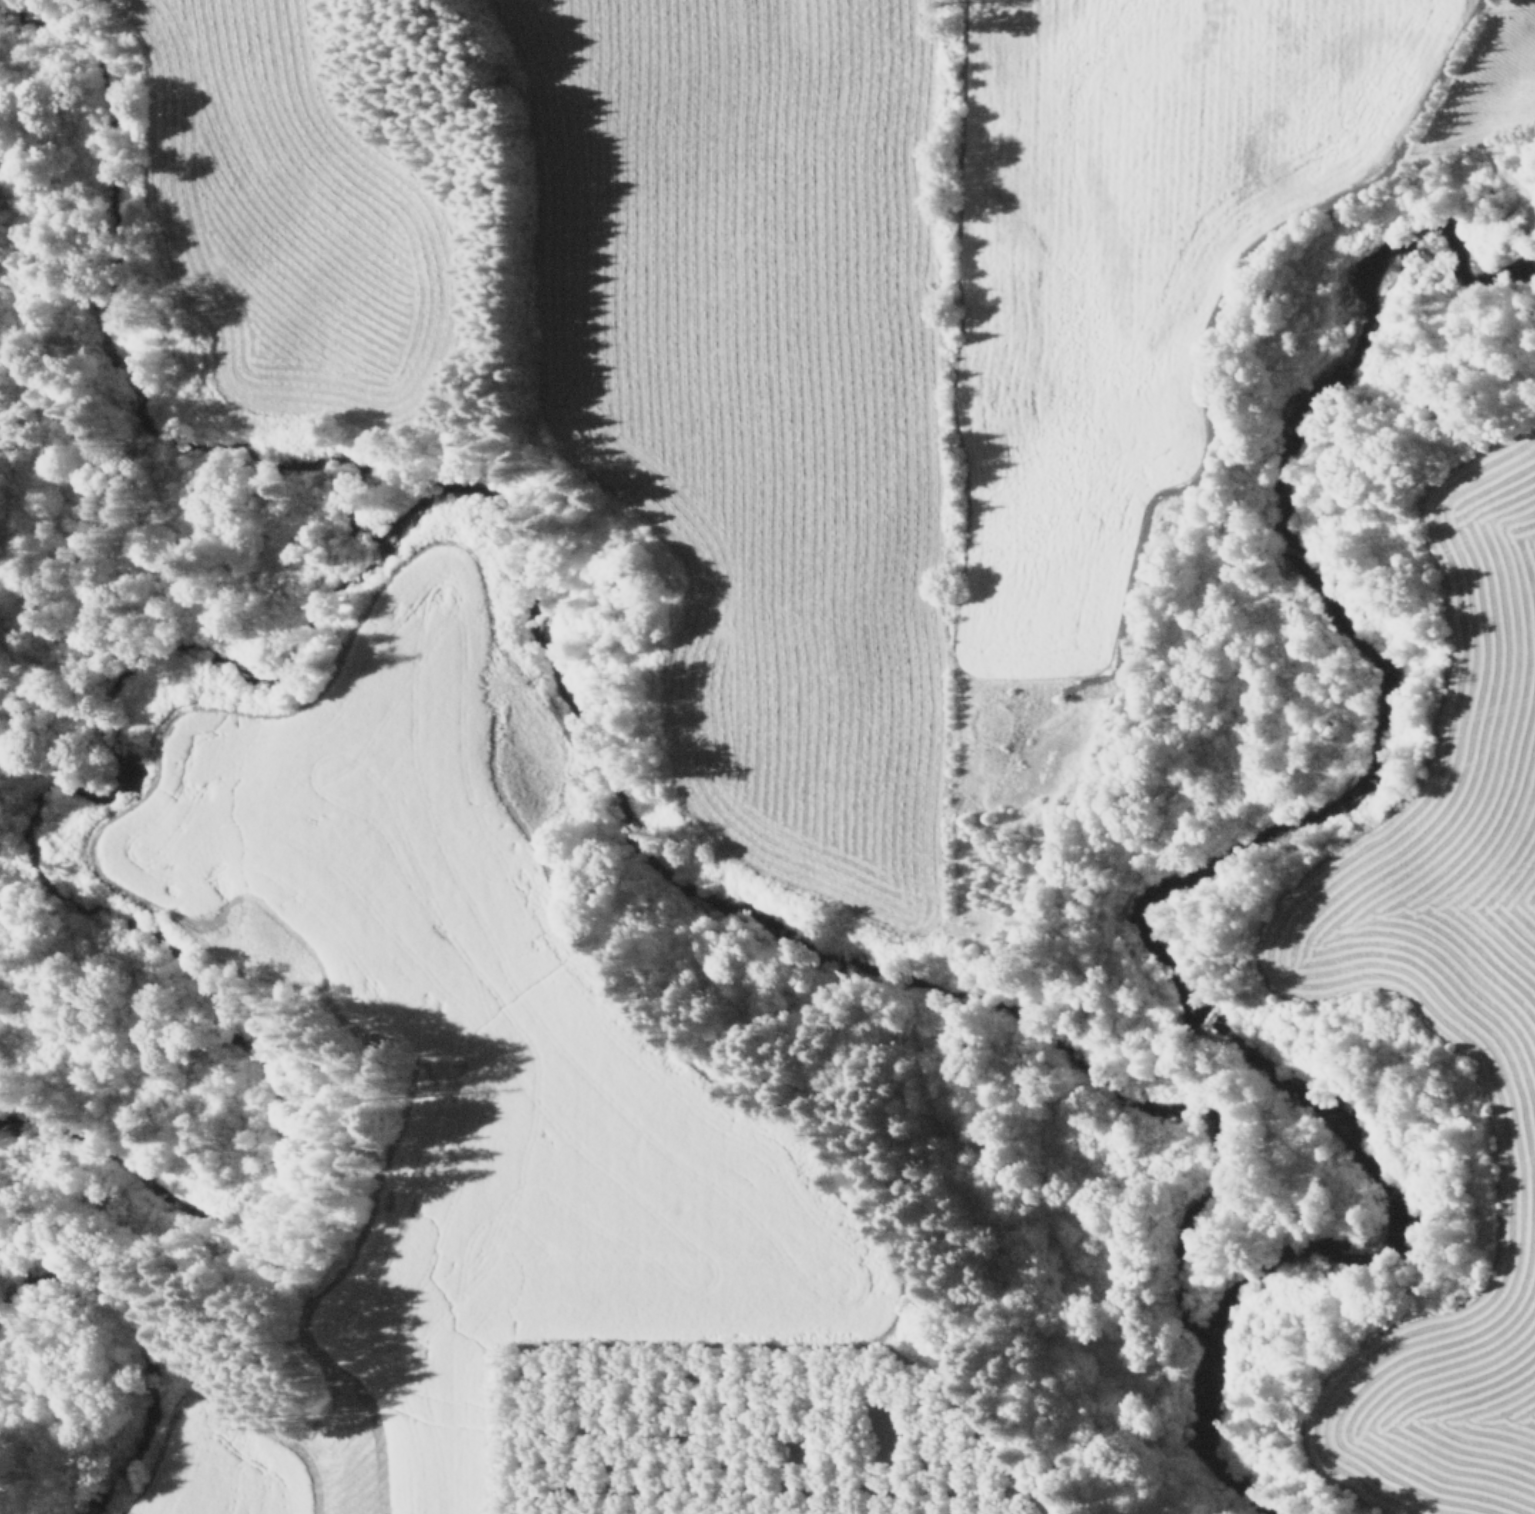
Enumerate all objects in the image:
crop: (277, 217)
crop: (920, 359)
river: (1222, 860)
crop: (1444, 1000)
crop: (454, 1065)

